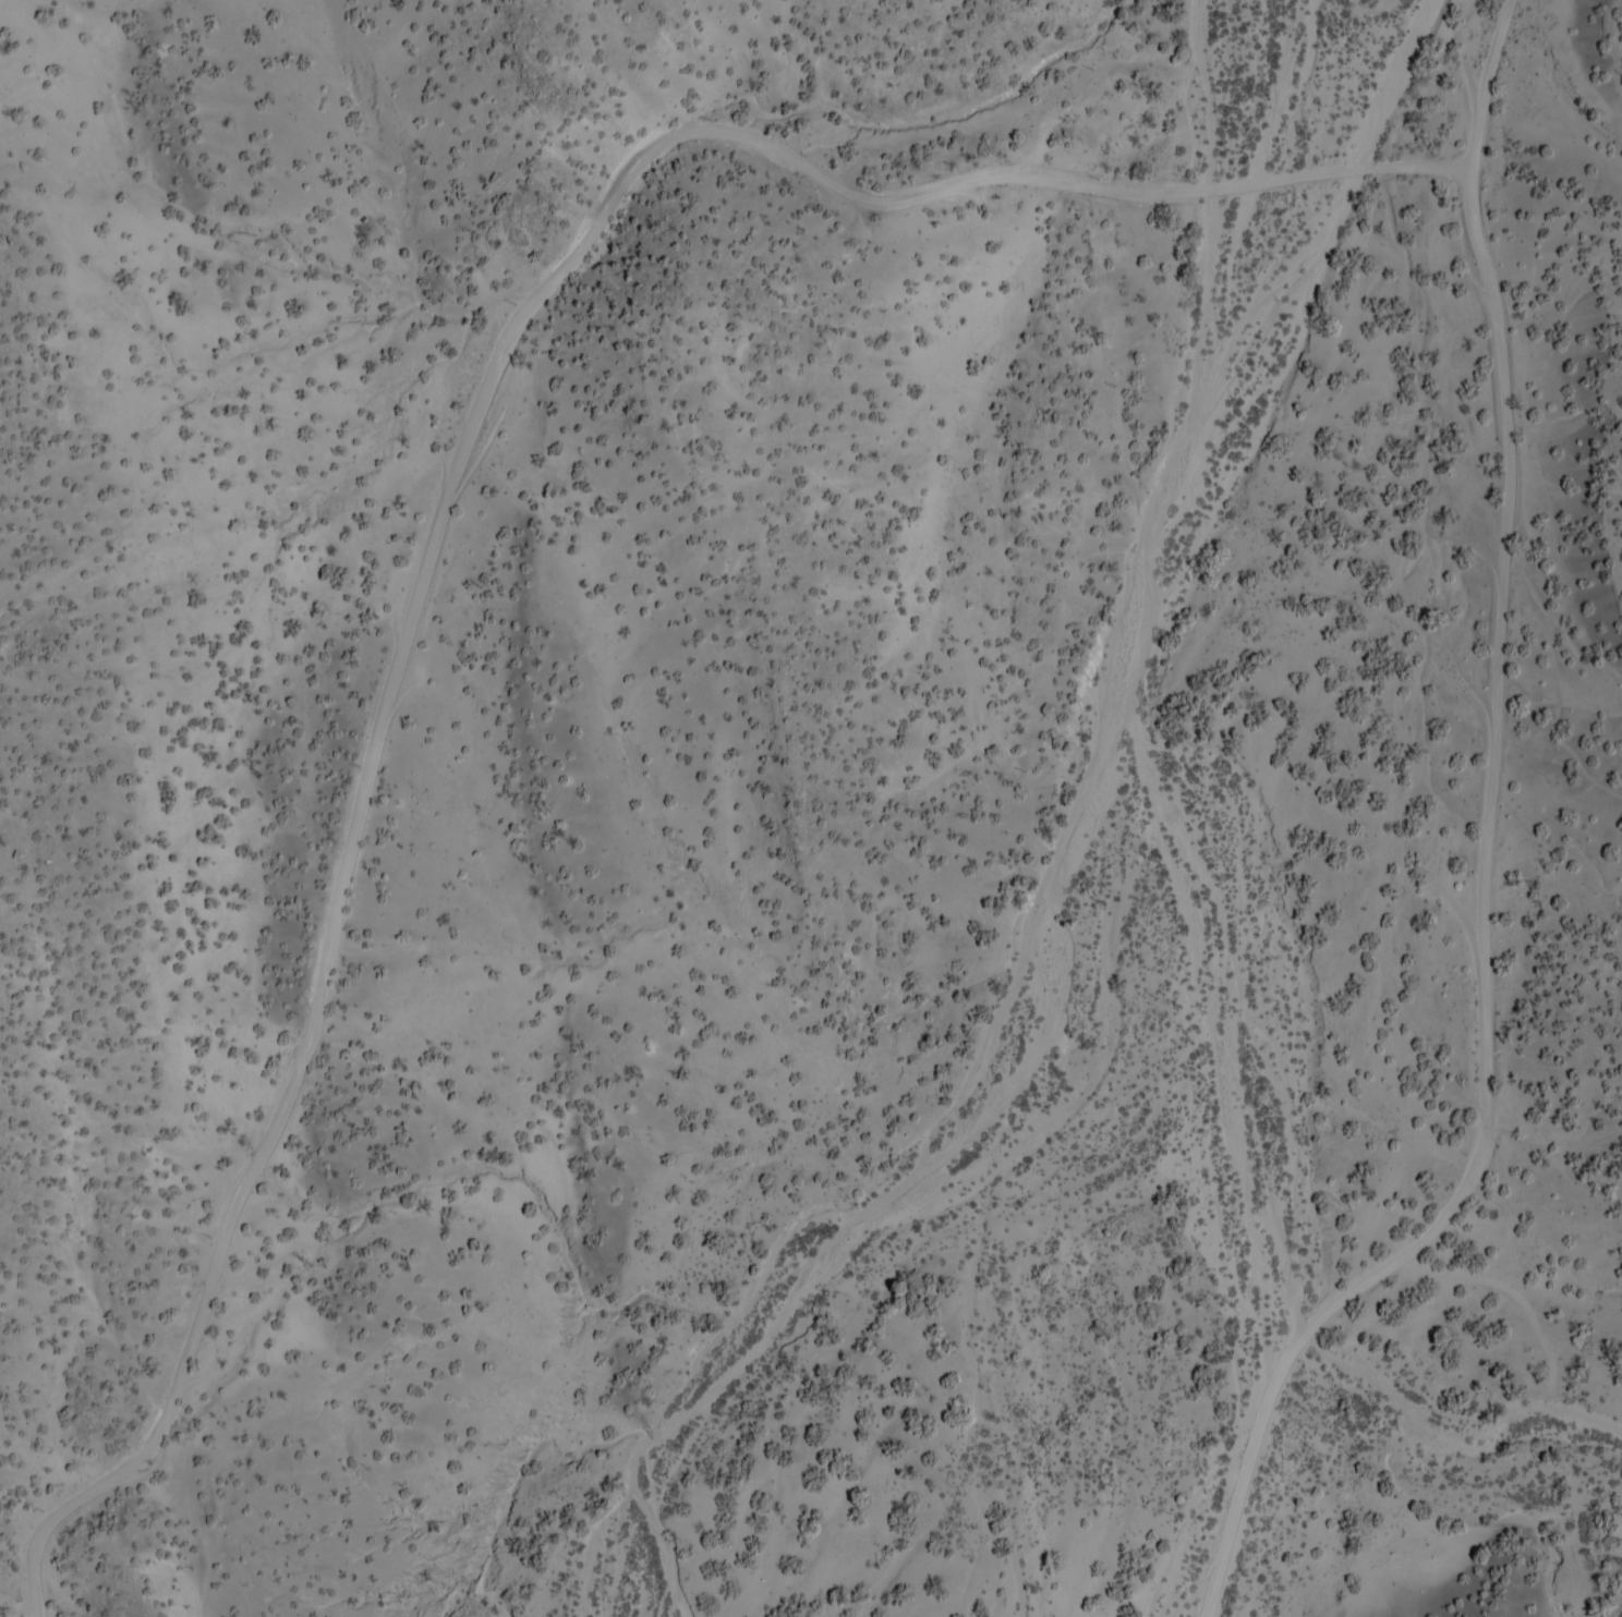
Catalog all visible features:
road: (455, 476)
river: (1155, 800)
road: (1492, 852)

